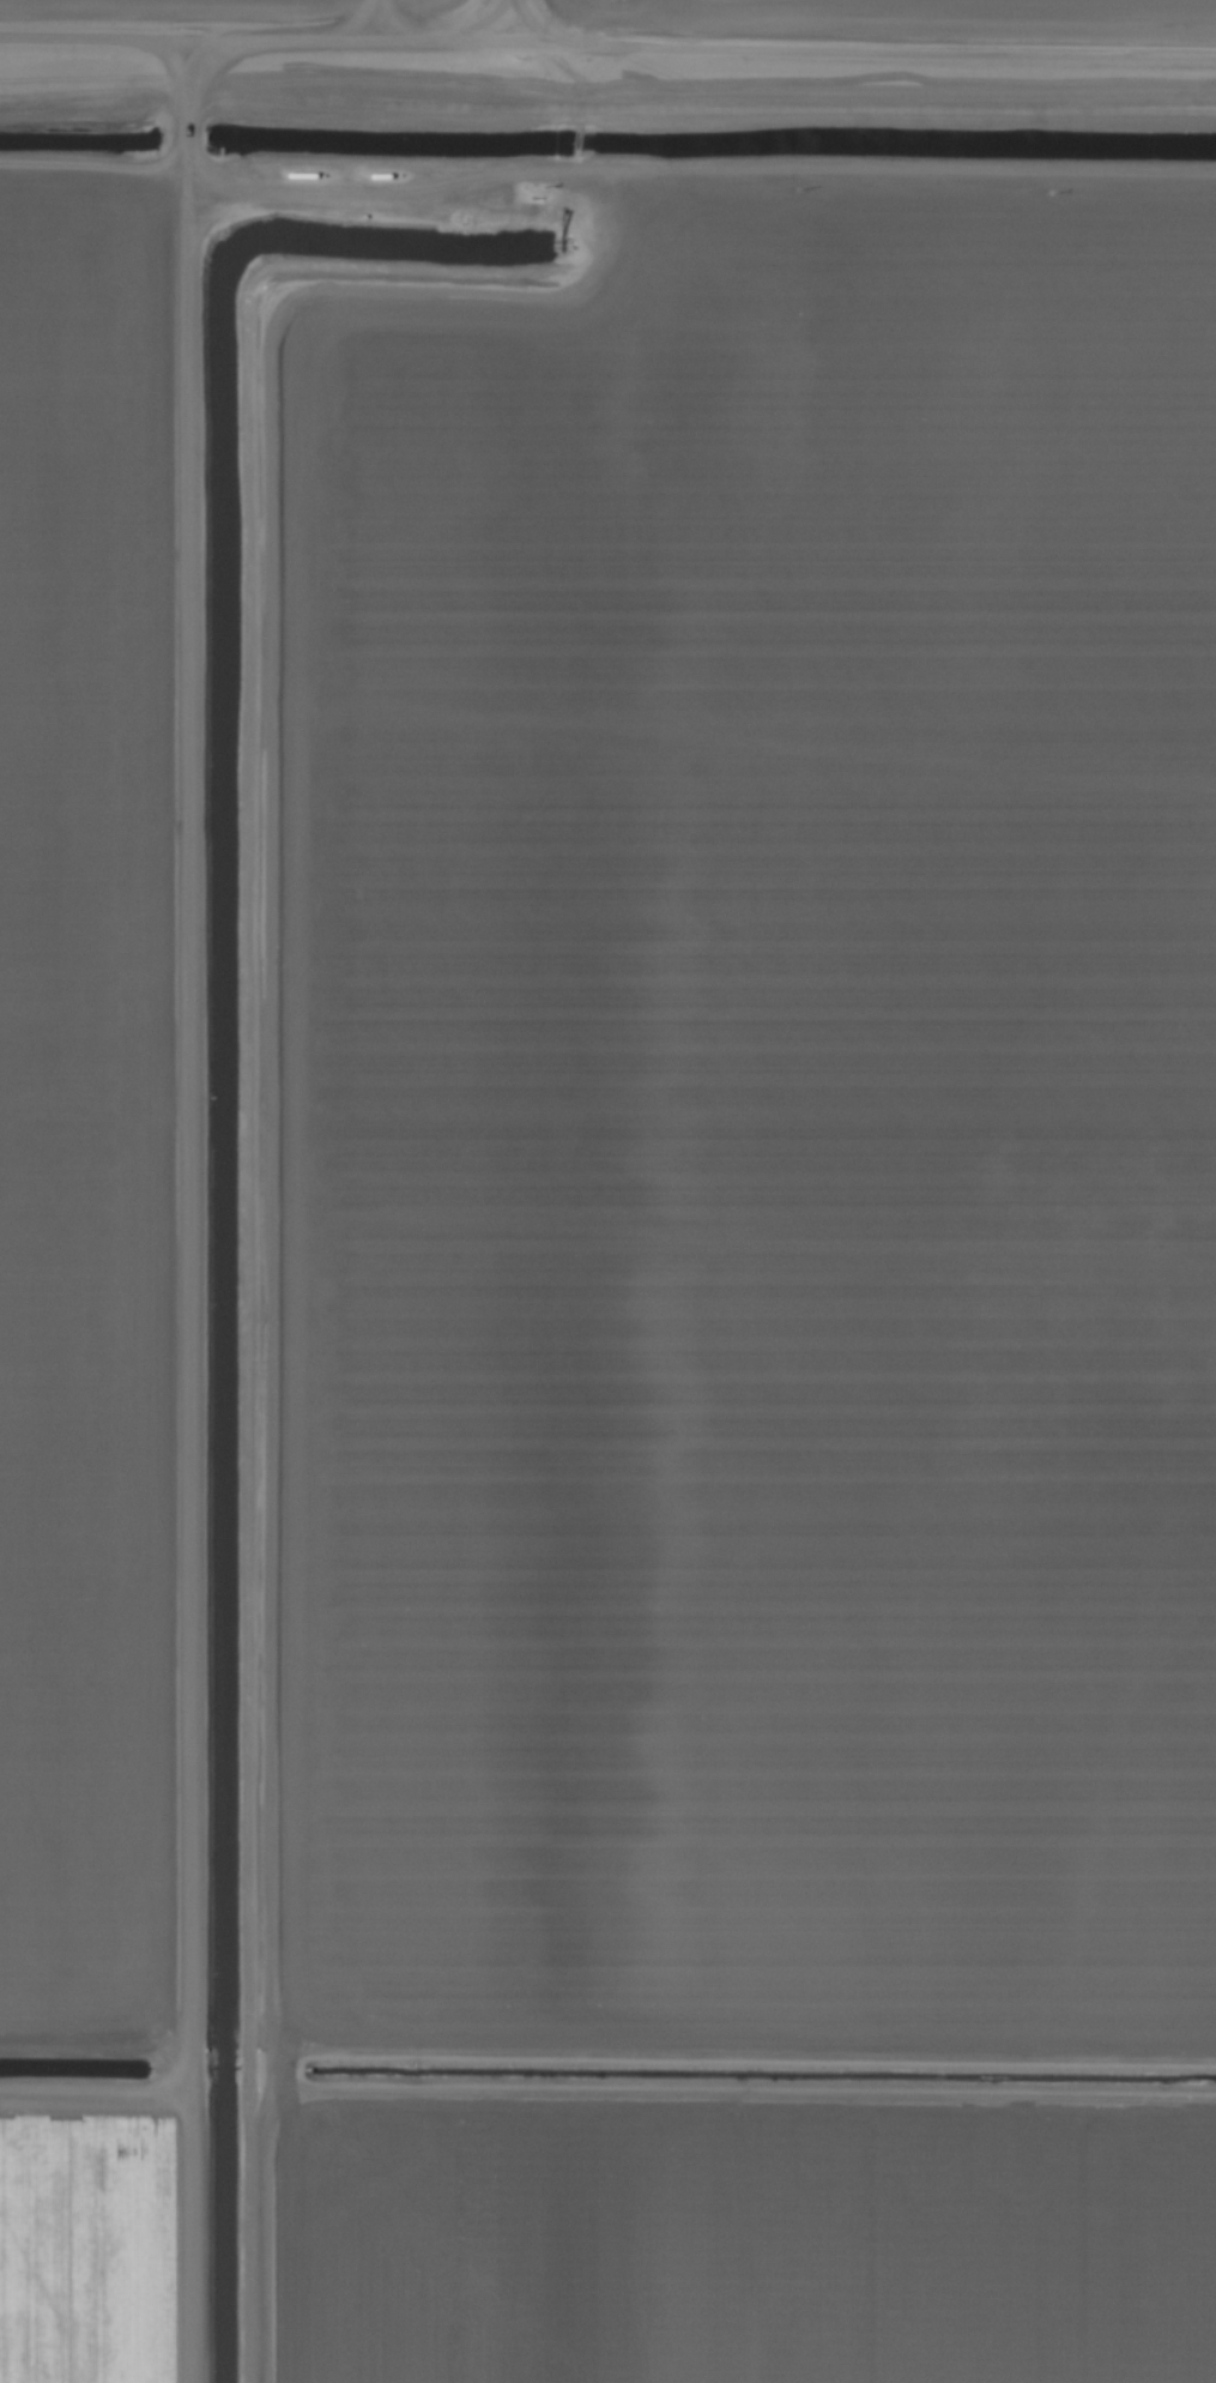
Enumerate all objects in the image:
road: (516, 26)
road: (607, 53)
road: (607, 182)
crop: (607, 1191)
road: (198, 1214)

